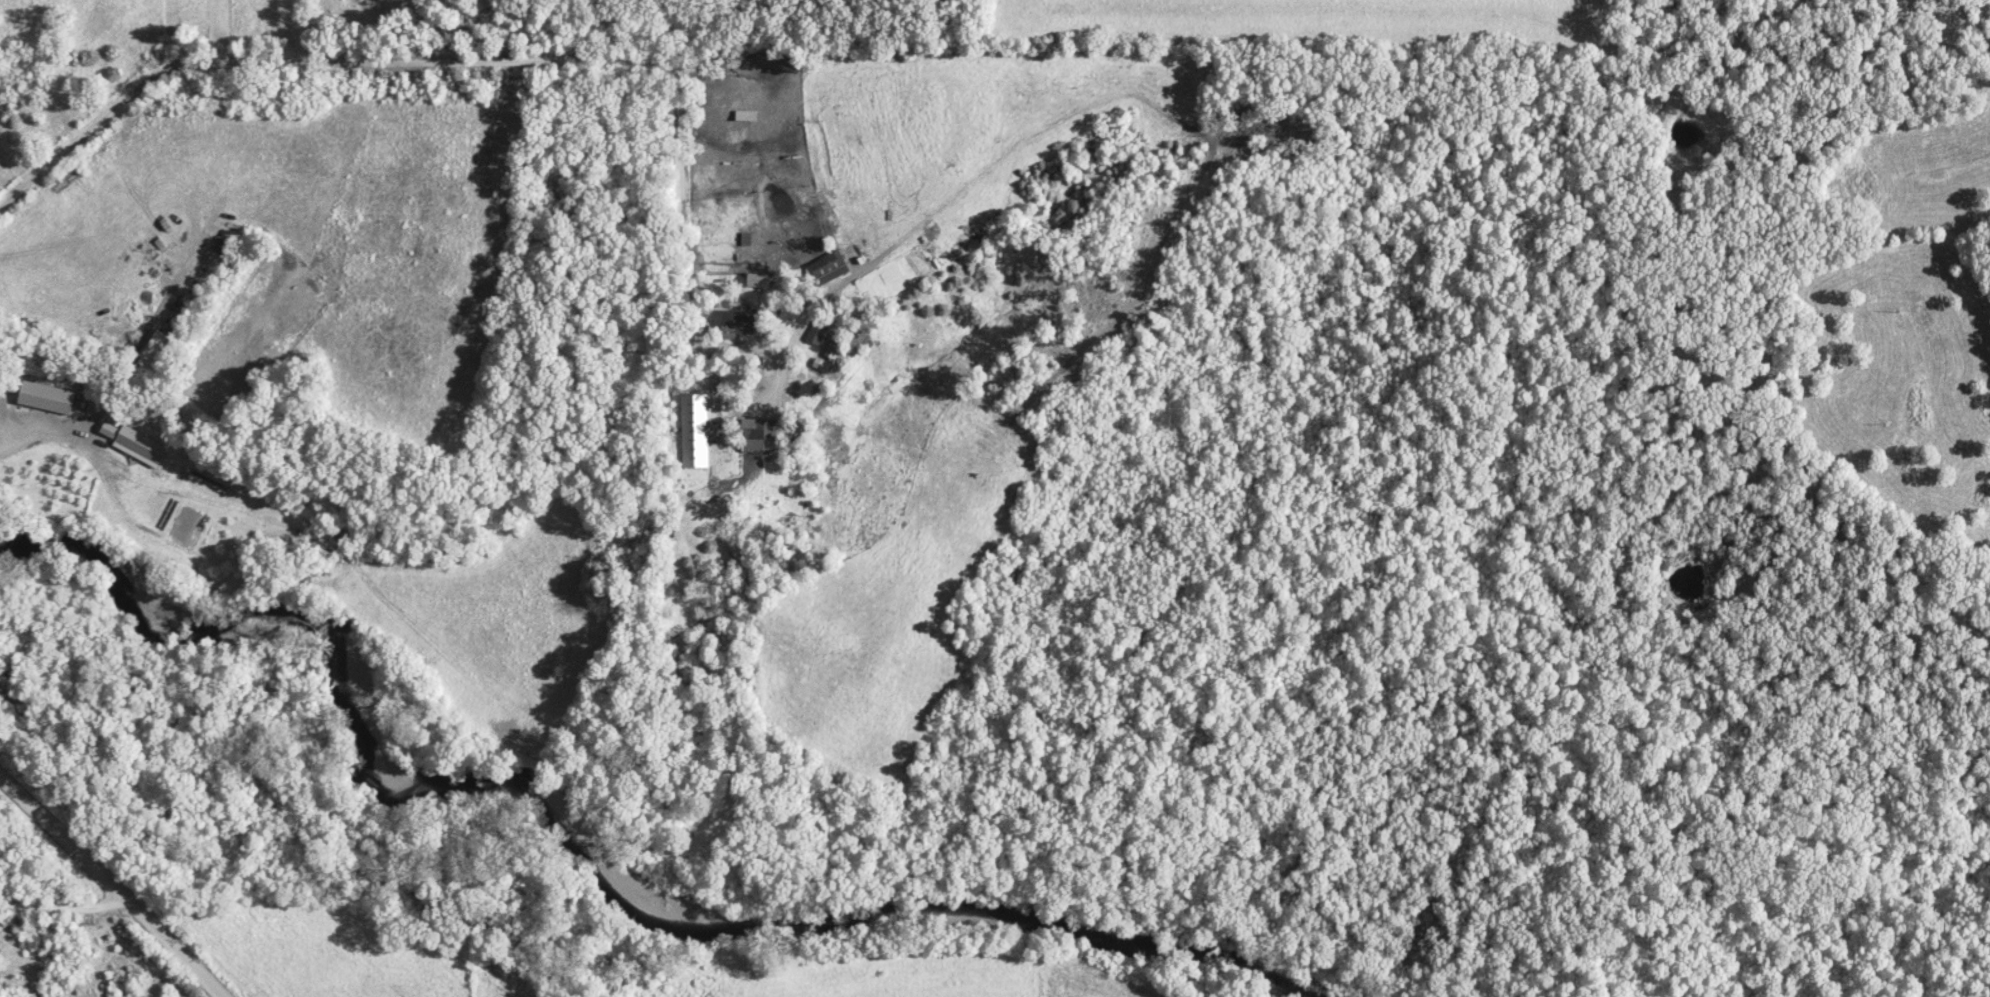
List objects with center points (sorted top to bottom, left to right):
road: (490, 66)
building: (826, 269)
building: (756, 282)
building: (731, 325)
building: (815, 334)
building: (46, 399)
building: (695, 432)
road: (40, 435)
building: (753, 435)
building: (135, 444)
road: (109, 887)
road: (67, 913)

